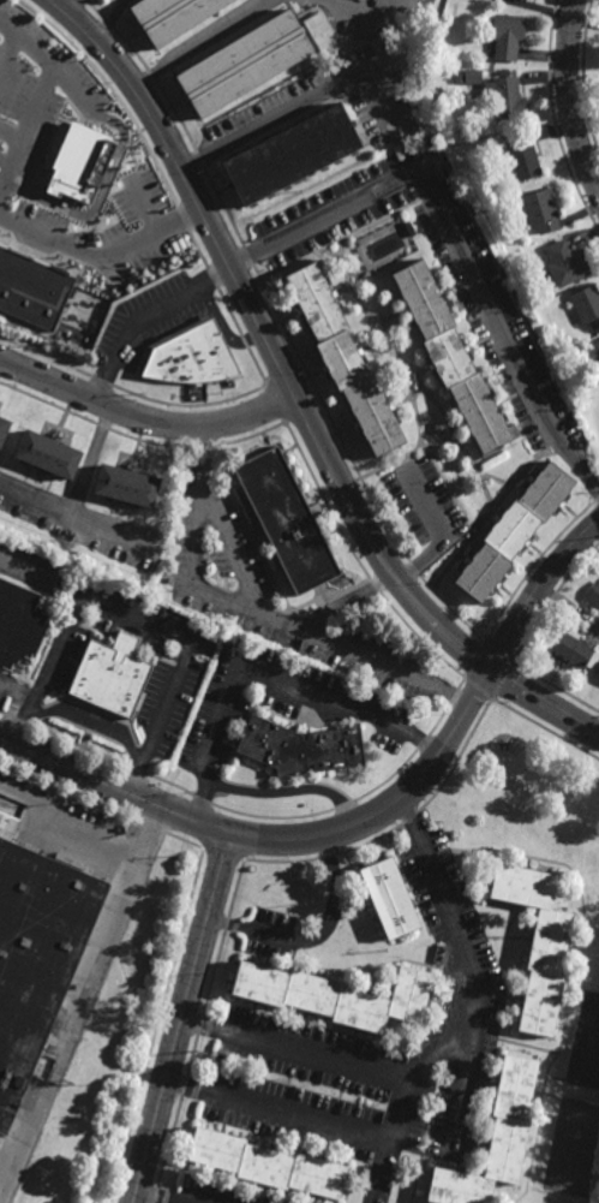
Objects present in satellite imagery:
road: (67, 6)
building: (170, 16)
road: (109, 20)
building: (321, 30)
building: (509, 32)
road: (197, 43)
building: (245, 61)
building: (471, 76)
building: (507, 96)
road: (570, 97)
road: (38, 99)
road: (288, 117)
building: (292, 155)
building: (523, 155)
building: (70, 162)
road: (403, 178)
building: (540, 210)
building: (411, 227)
road: (100, 252)
building: (567, 263)
building: (34, 291)
building: (587, 304)
building: (579, 351)
building: (595, 352)
building: (192, 358)
building: (345, 358)
building: (453, 358)
road: (292, 395)
road: (143, 419)
building: (441, 428)
building: (5, 431)
building: (50, 455)
road: (94, 460)
building: (125, 487)
road: (77, 513)
building: (288, 522)
building: (514, 530)
road: (232, 552)
road: (413, 570)
road: (26, 577)
building: (594, 596)
road: (91, 598)
road: (256, 613)
building: (19, 623)
building: (571, 647)
road: (264, 673)
building: (112, 675)
road: (23, 704)
road: (160, 716)
road: (89, 722)
building: (300, 746)
road: (288, 793)
road: (71, 820)
road: (365, 821)
building: (390, 897)
road: (313, 937)
building: (538, 942)
building: (36, 953)
road: (469, 969)
building: (337, 995)
road: (80, 999)
road: (181, 1018)
road: (435, 1062)
road: (401, 1114)
building: (495, 1139)
building: (265, 1166)
road: (377, 1172)
road: (148, 1199)

